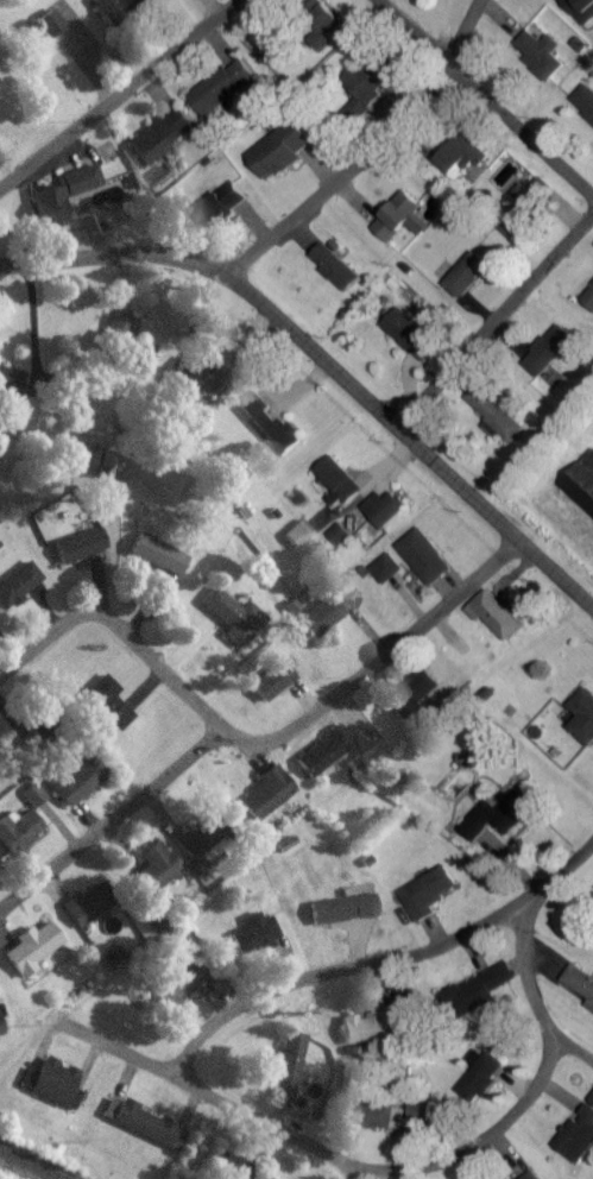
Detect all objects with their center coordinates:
building: (115, 12)
building: (579, 13)
building: (322, 32)
building: (537, 58)
building: (53, 61)
building: (220, 94)
road: (126, 100)
building: (355, 100)
road: (482, 101)
building: (583, 109)
building: (159, 143)
road: (367, 147)
building: (278, 158)
building: (460, 164)
road: (320, 169)
building: (77, 188)
building: (45, 214)
building: (395, 223)
building: (513, 226)
road: (254, 227)
building: (333, 273)
building: (463, 282)
building: (587, 305)
road: (31, 317)
road: (493, 327)
building: (115, 336)
building: (404, 340)
building: (548, 357)
road: (323, 367)
building: (492, 421)
building: (31, 424)
building: (86, 465)
road: (387, 466)
building: (581, 490)
building: (384, 516)
building: (76, 553)
building: (153, 562)
building: (422, 565)
building: (384, 576)
building: (17, 591)
building: (493, 623)
building: (411, 701)
building: (102, 712)
building: (581, 725)
road: (258, 746)
building: (321, 759)
building: (68, 787)
building: (31, 802)
building: (264, 803)
road: (109, 820)
building: (499, 824)
building: (17, 838)
building: (198, 843)
road: (557, 875)
building: (153, 878)
building: (421, 903)
building: (84, 914)
building: (339, 916)
building: (250, 941)
building: (30, 954)
building: (176, 990)
building: (578, 990)
building: (471, 1001)
building: (374, 1034)
road: (120, 1057)
road: (575, 1059)
building: (286, 1066)
building: (479, 1084)
building: (50, 1089)
building: (418, 1117)
building: (379, 1121)
building: (143, 1129)
road: (270, 1131)
building: (575, 1145)
railway: (23, 1167)

